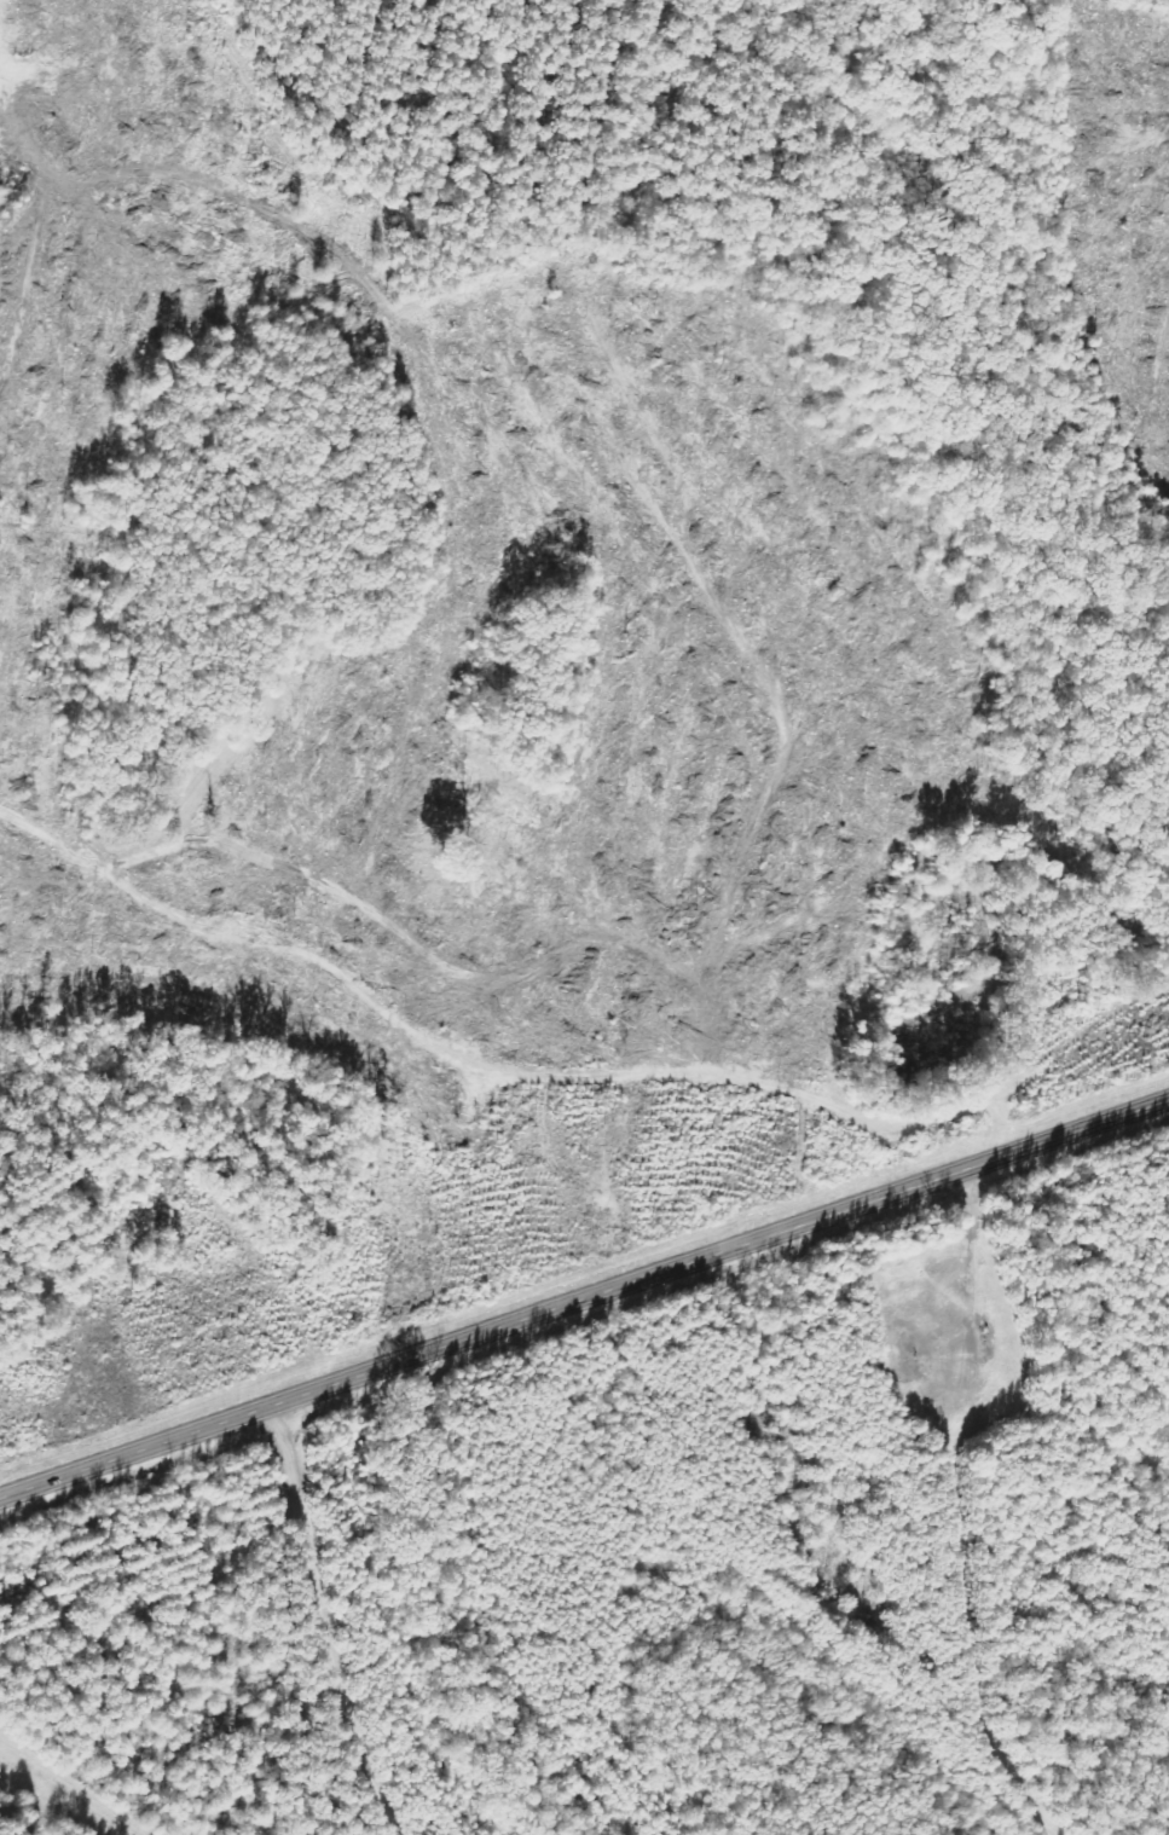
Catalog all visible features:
road: (584, 1299)
road: (311, 1632)

